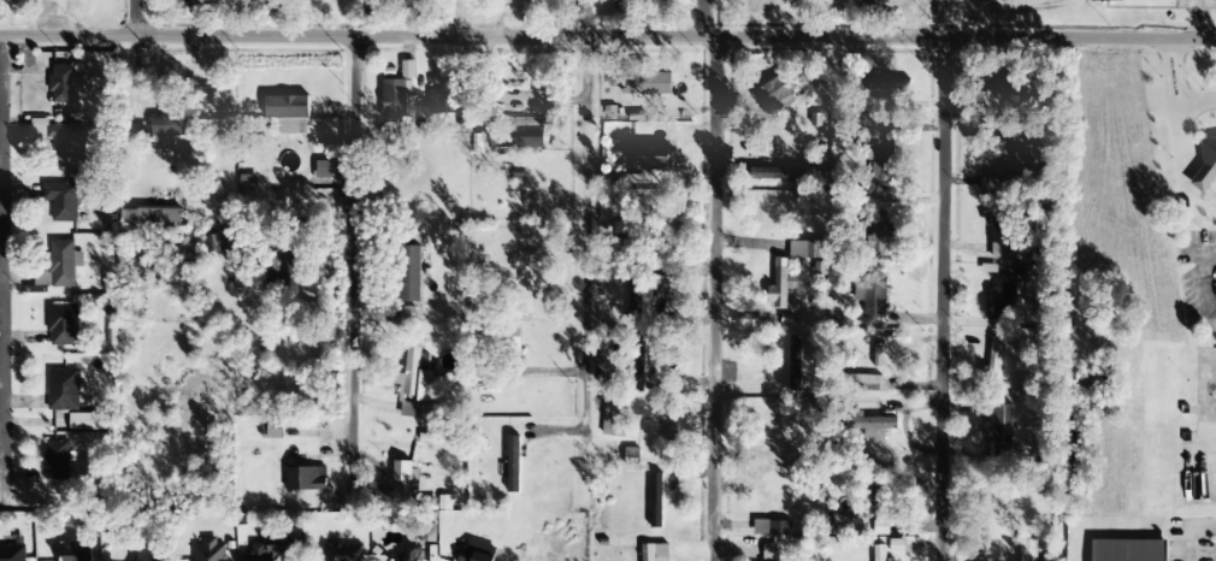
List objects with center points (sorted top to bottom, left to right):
building: (1105, 0)
building: (191, 2)
building: (749, 6)
road: (132, 18)
road: (1, 36)
road: (609, 36)
building: (407, 70)
building: (896, 73)
building: (65, 83)
building: (645, 83)
building: (884, 83)
building: (993, 90)
building: (772, 93)
building: (433, 99)
building: (394, 100)
building: (449, 104)
building: (288, 112)
building: (163, 129)
building: (516, 136)
building: (67, 141)
building: (650, 155)
building: (883, 160)
building: (1206, 161)
building: (777, 173)
building: (988, 182)
building: (61, 201)
building: (158, 217)
road: (585, 234)
building: (876, 234)
building: (1000, 234)
building: (804, 249)
road: (354, 260)
building: (63, 262)
road: (2, 265)
building: (278, 267)
building: (409, 273)
road: (713, 279)
building: (783, 284)
building: (874, 294)
building: (636, 295)
building: (1003, 296)
road: (939, 299)
building: (63, 325)
building: (991, 364)
building: (414, 373)
building: (636, 377)
building: (866, 382)
building: (65, 390)
building: (407, 409)
building: (88, 420)
building: (614, 421)
building: (1004, 425)
building: (876, 427)
building: (271, 429)
building: (783, 429)
building: (58, 460)
building: (513, 465)
building: (305, 478)
building: (403, 482)
building: (872, 497)
building: (655, 501)
building: (777, 506)
building: (427, 532)
building: (270, 549)
building: (208, 550)
building: (343, 550)
building: (1027, 550)
building: (1128, 550)
building: (477, 551)
building: (12, 553)
building: (75, 553)
building: (653, 553)
building: (769, 553)
building: (879, 553)
building: (147, 554)
building: (405, 554)

